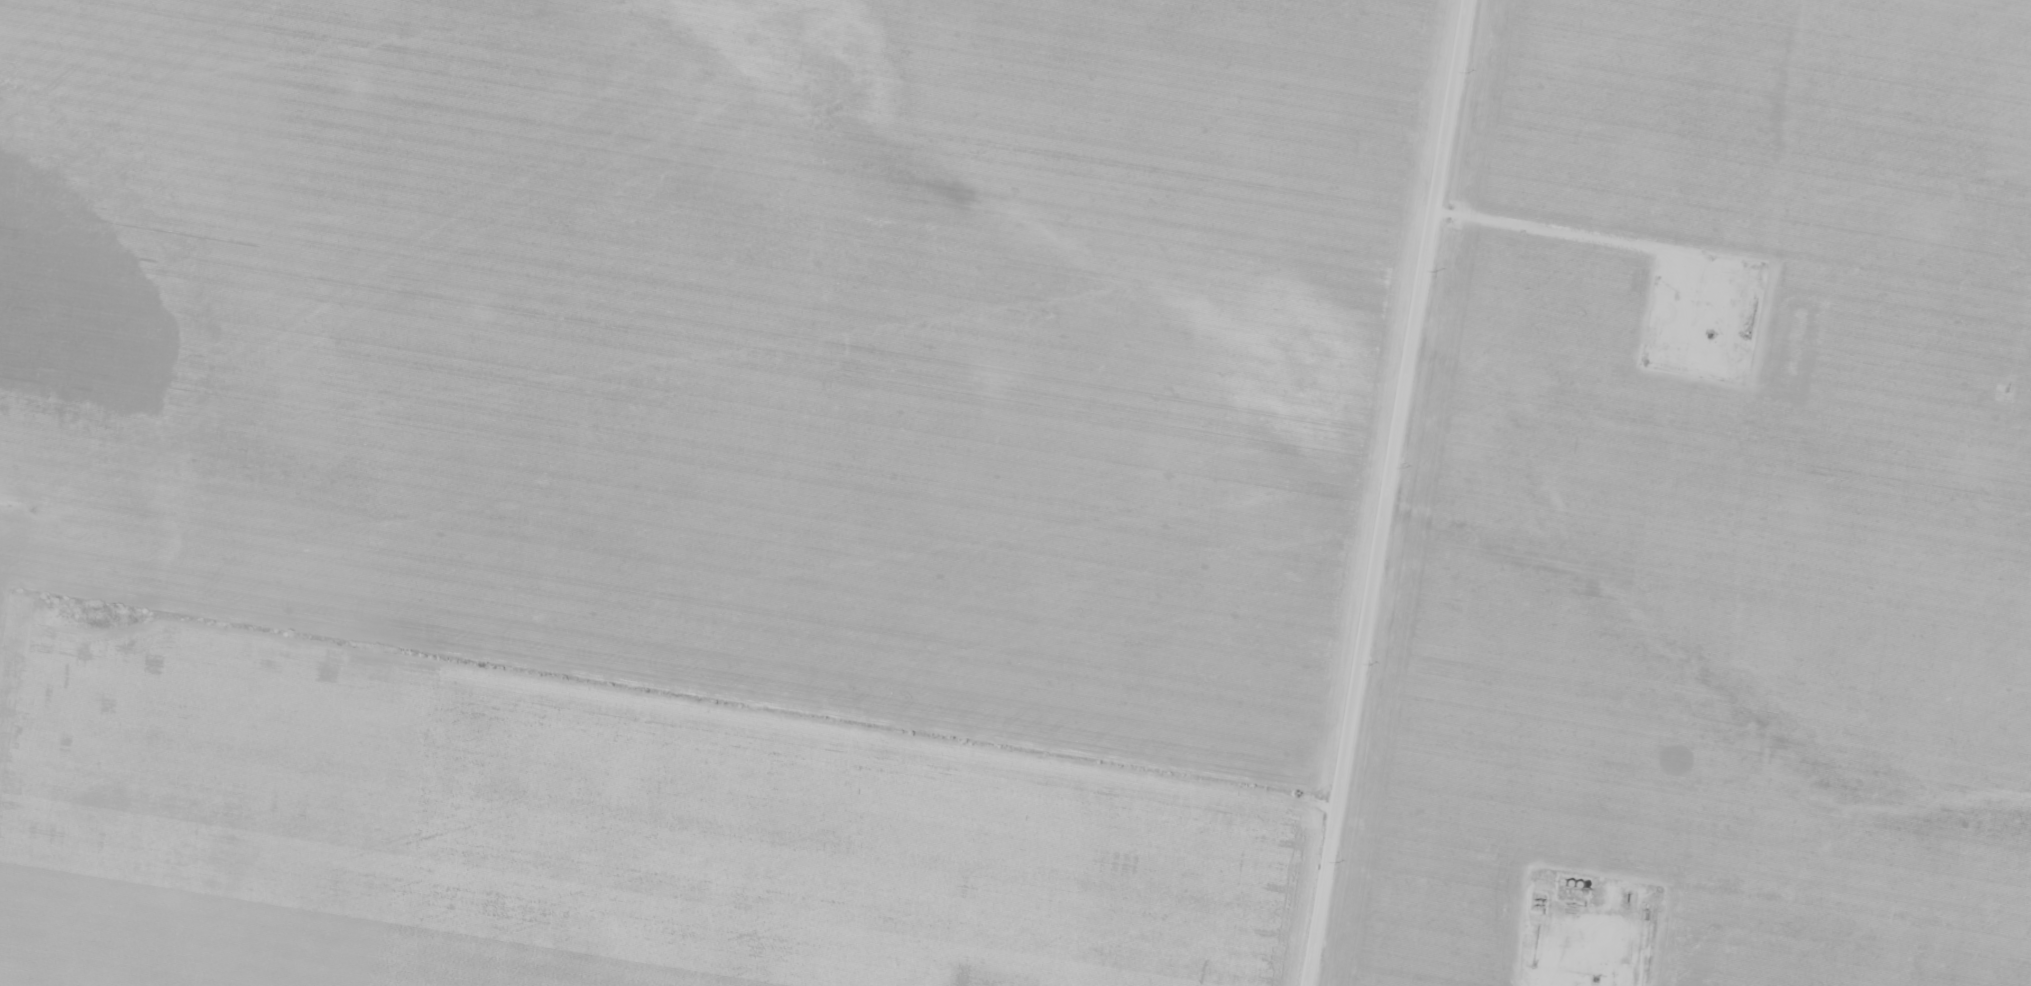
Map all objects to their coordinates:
road: (1716, 375)
road: (1373, 493)
road: (661, 693)

